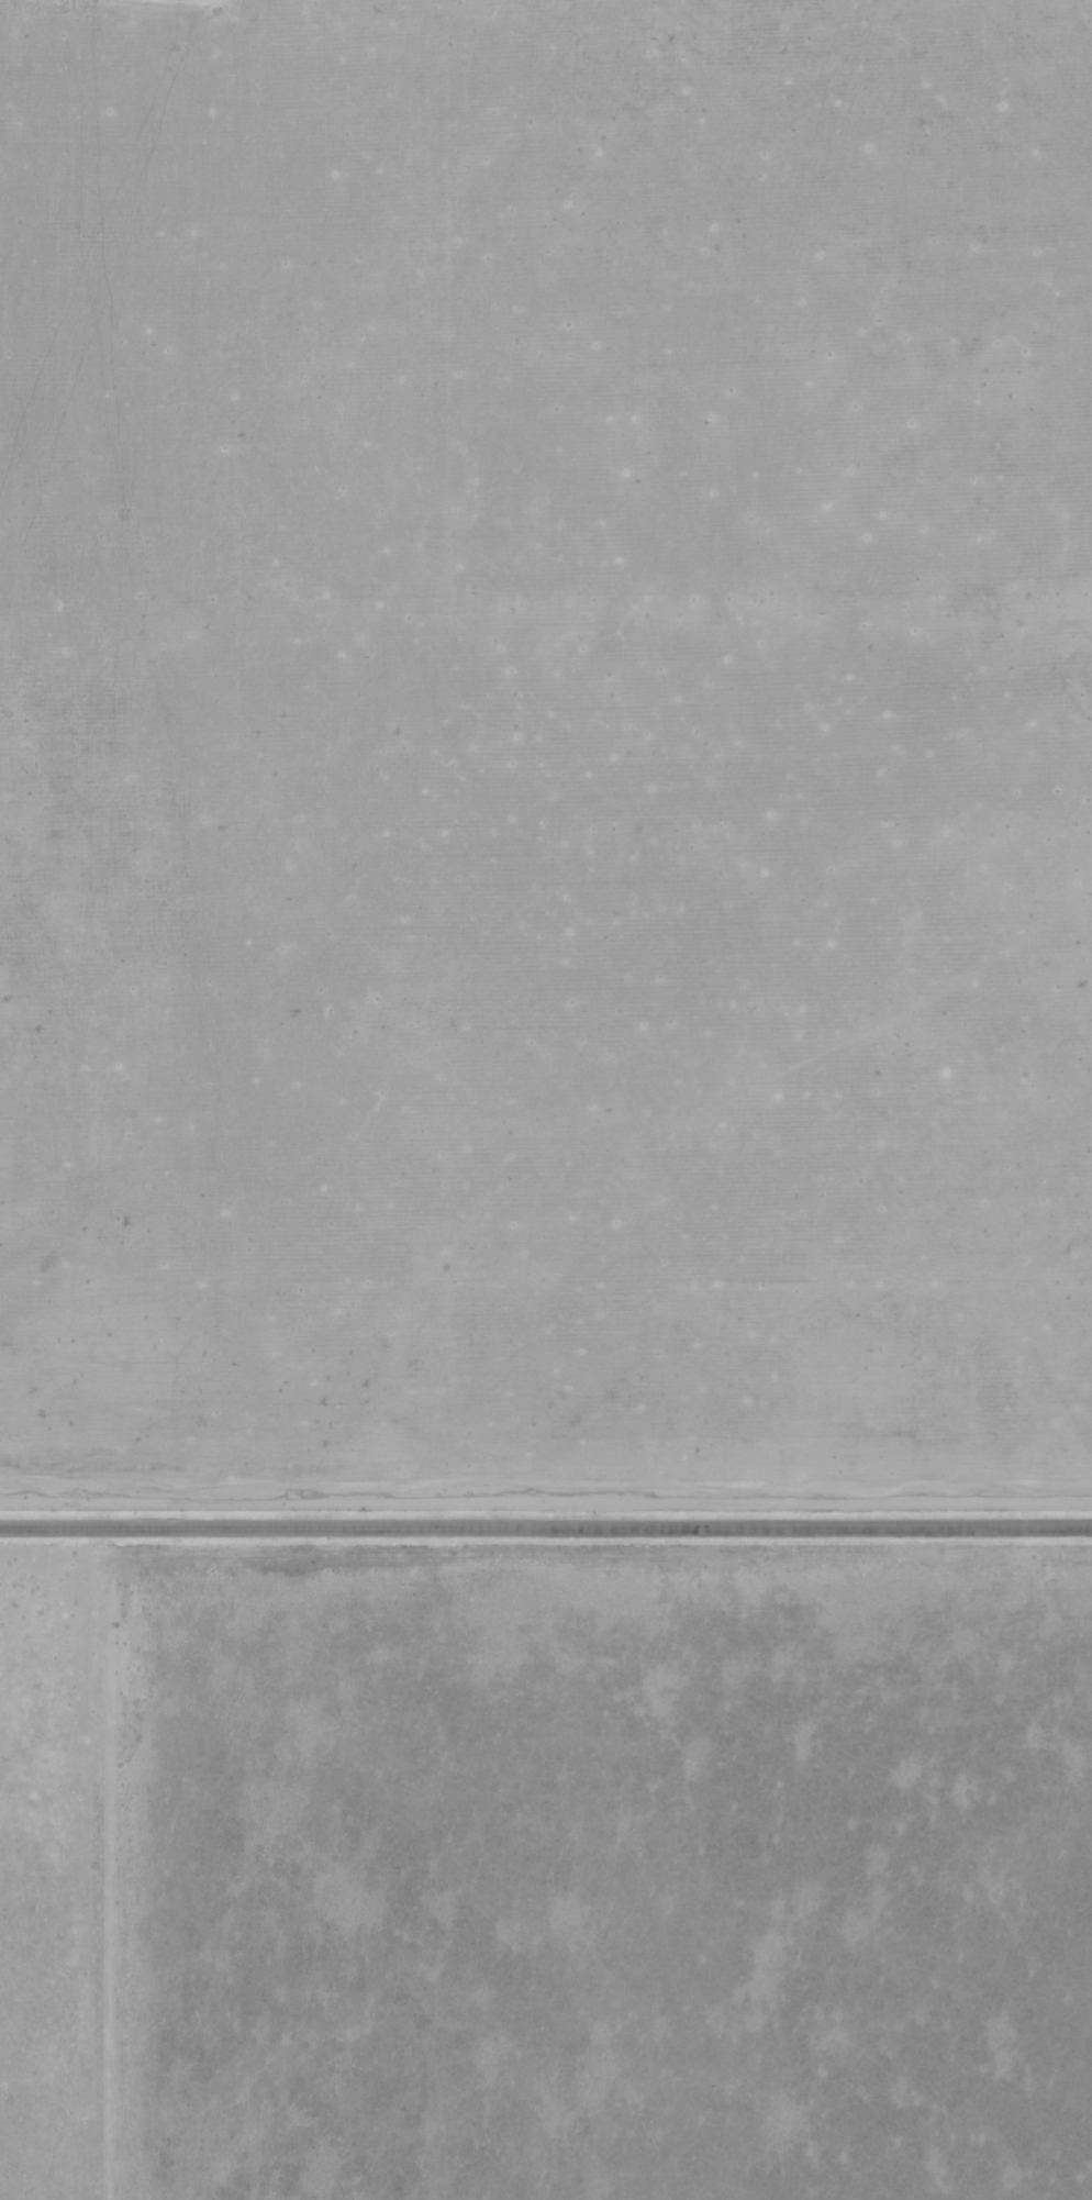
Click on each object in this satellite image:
road: (546, 1524)

